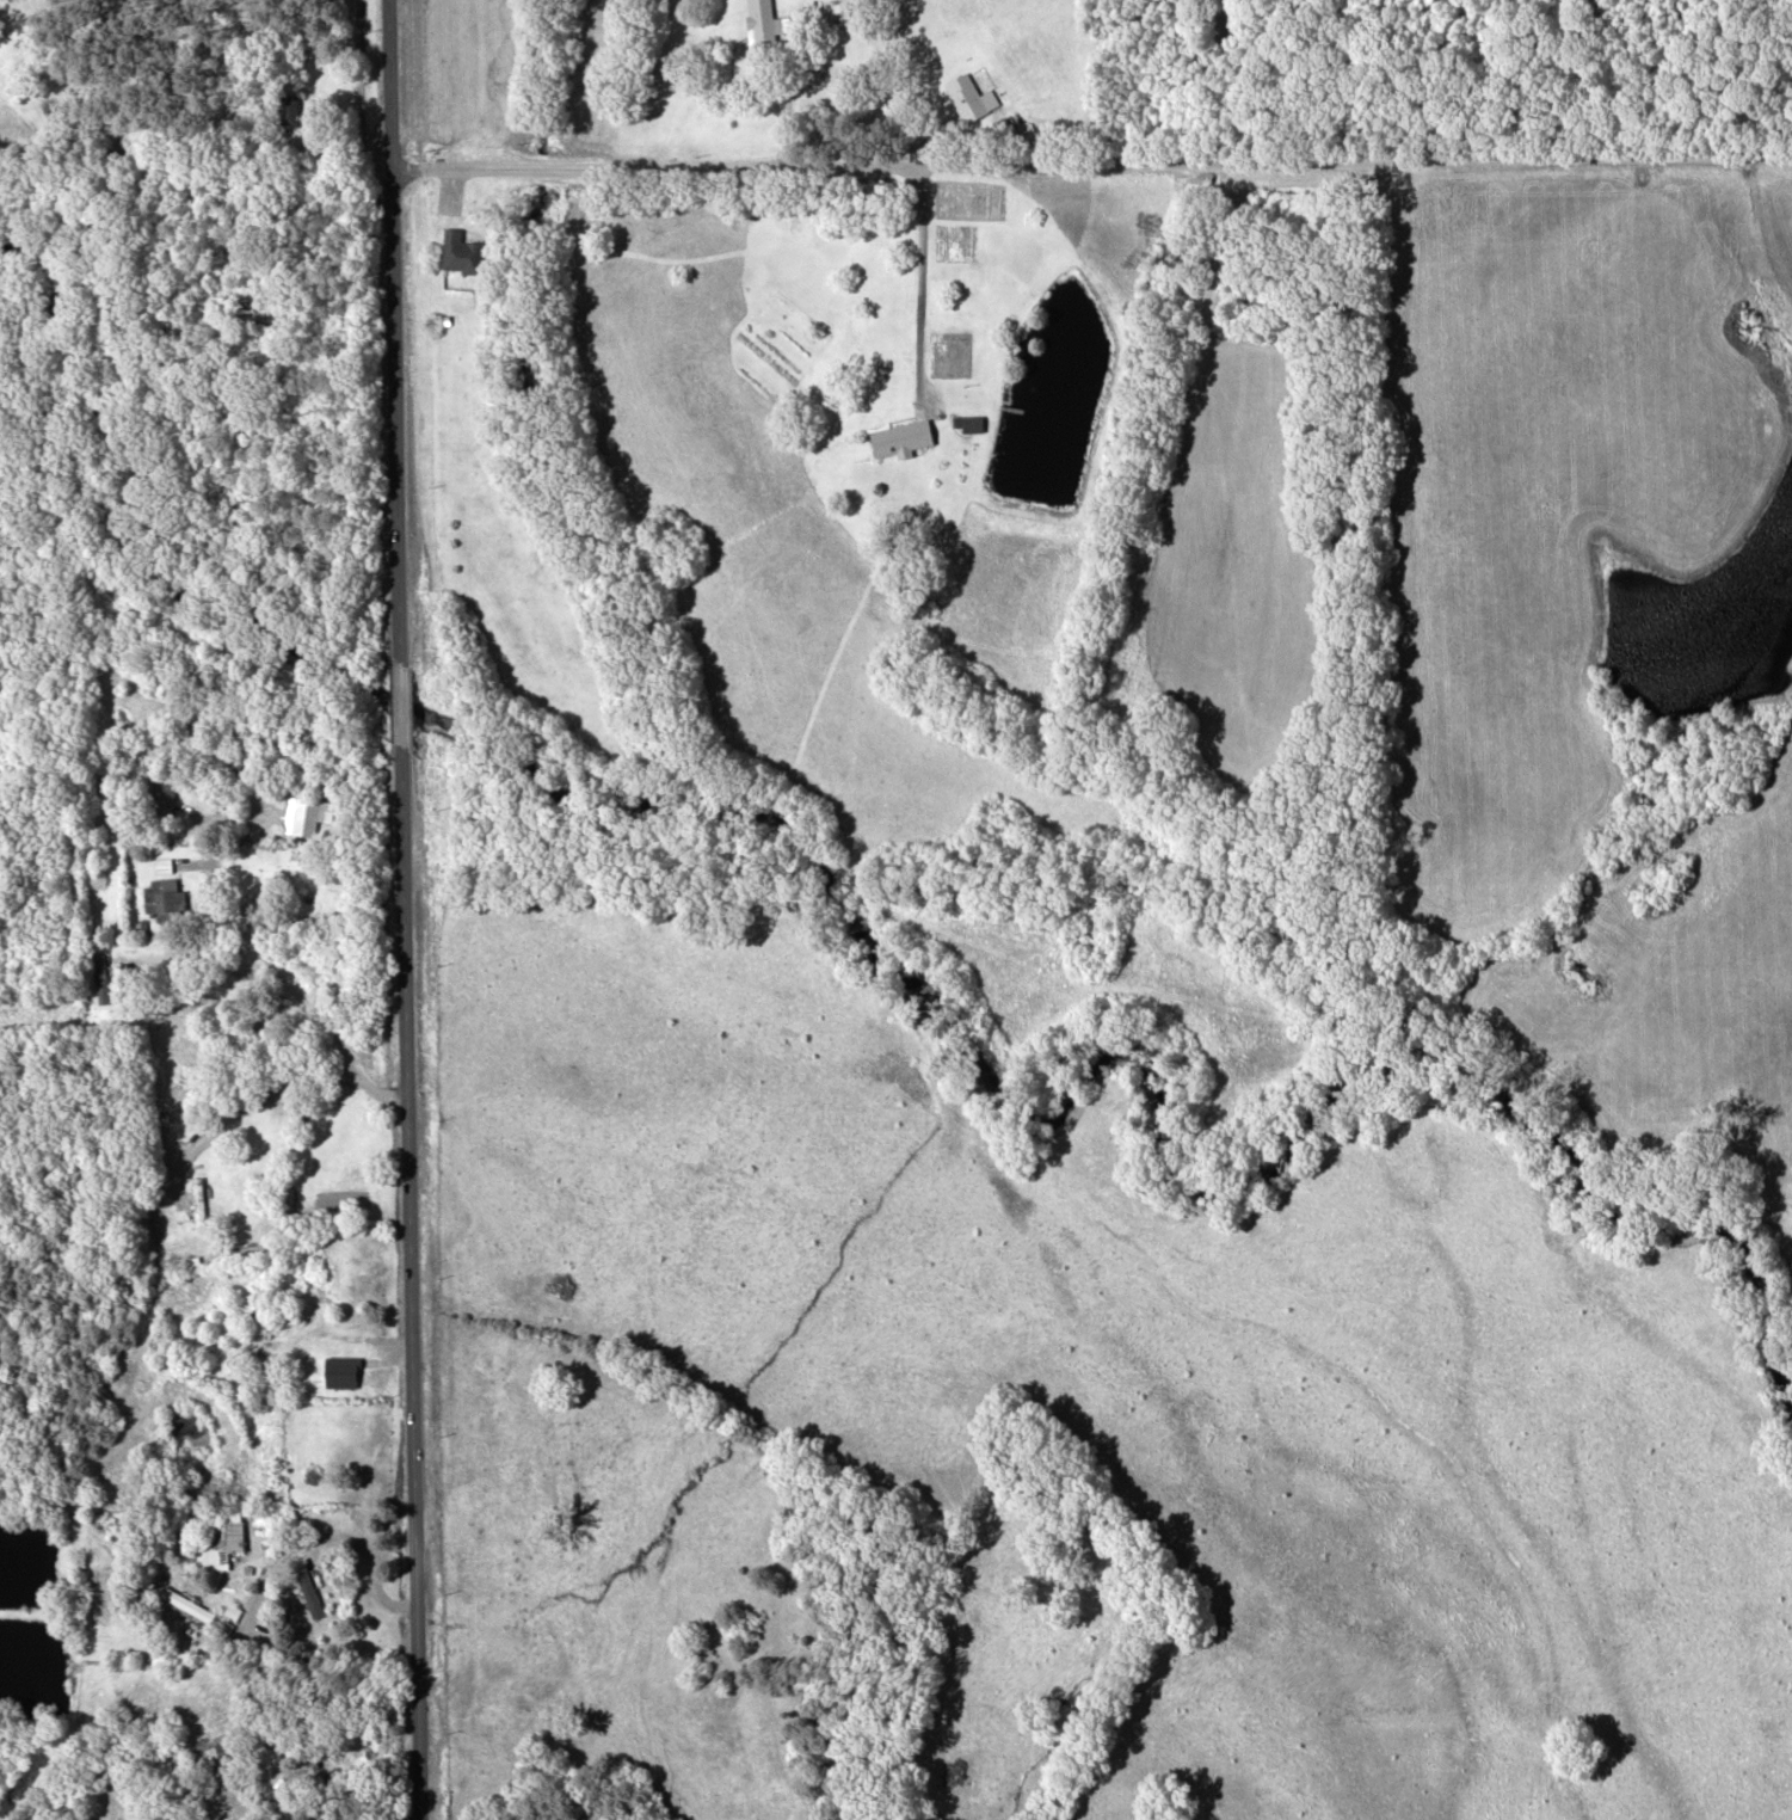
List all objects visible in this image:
building: (838, 8)
building: (759, 23)
building: (965, 93)
building: (287, 113)
road: (1091, 161)
building: (461, 252)
road: (393, 327)
building: (968, 422)
building: (903, 437)
road: (398, 700)
building: (161, 798)
building: (304, 813)
building: (160, 894)
building: (100, 977)
road: (295, 992)
road: (266, 1087)
building: (198, 1199)
road: (408, 1281)
building: (328, 1299)
road: (333, 1533)
building: (220, 1538)
building: (186, 1603)
building: (122, 1802)
building: (288, 1816)

